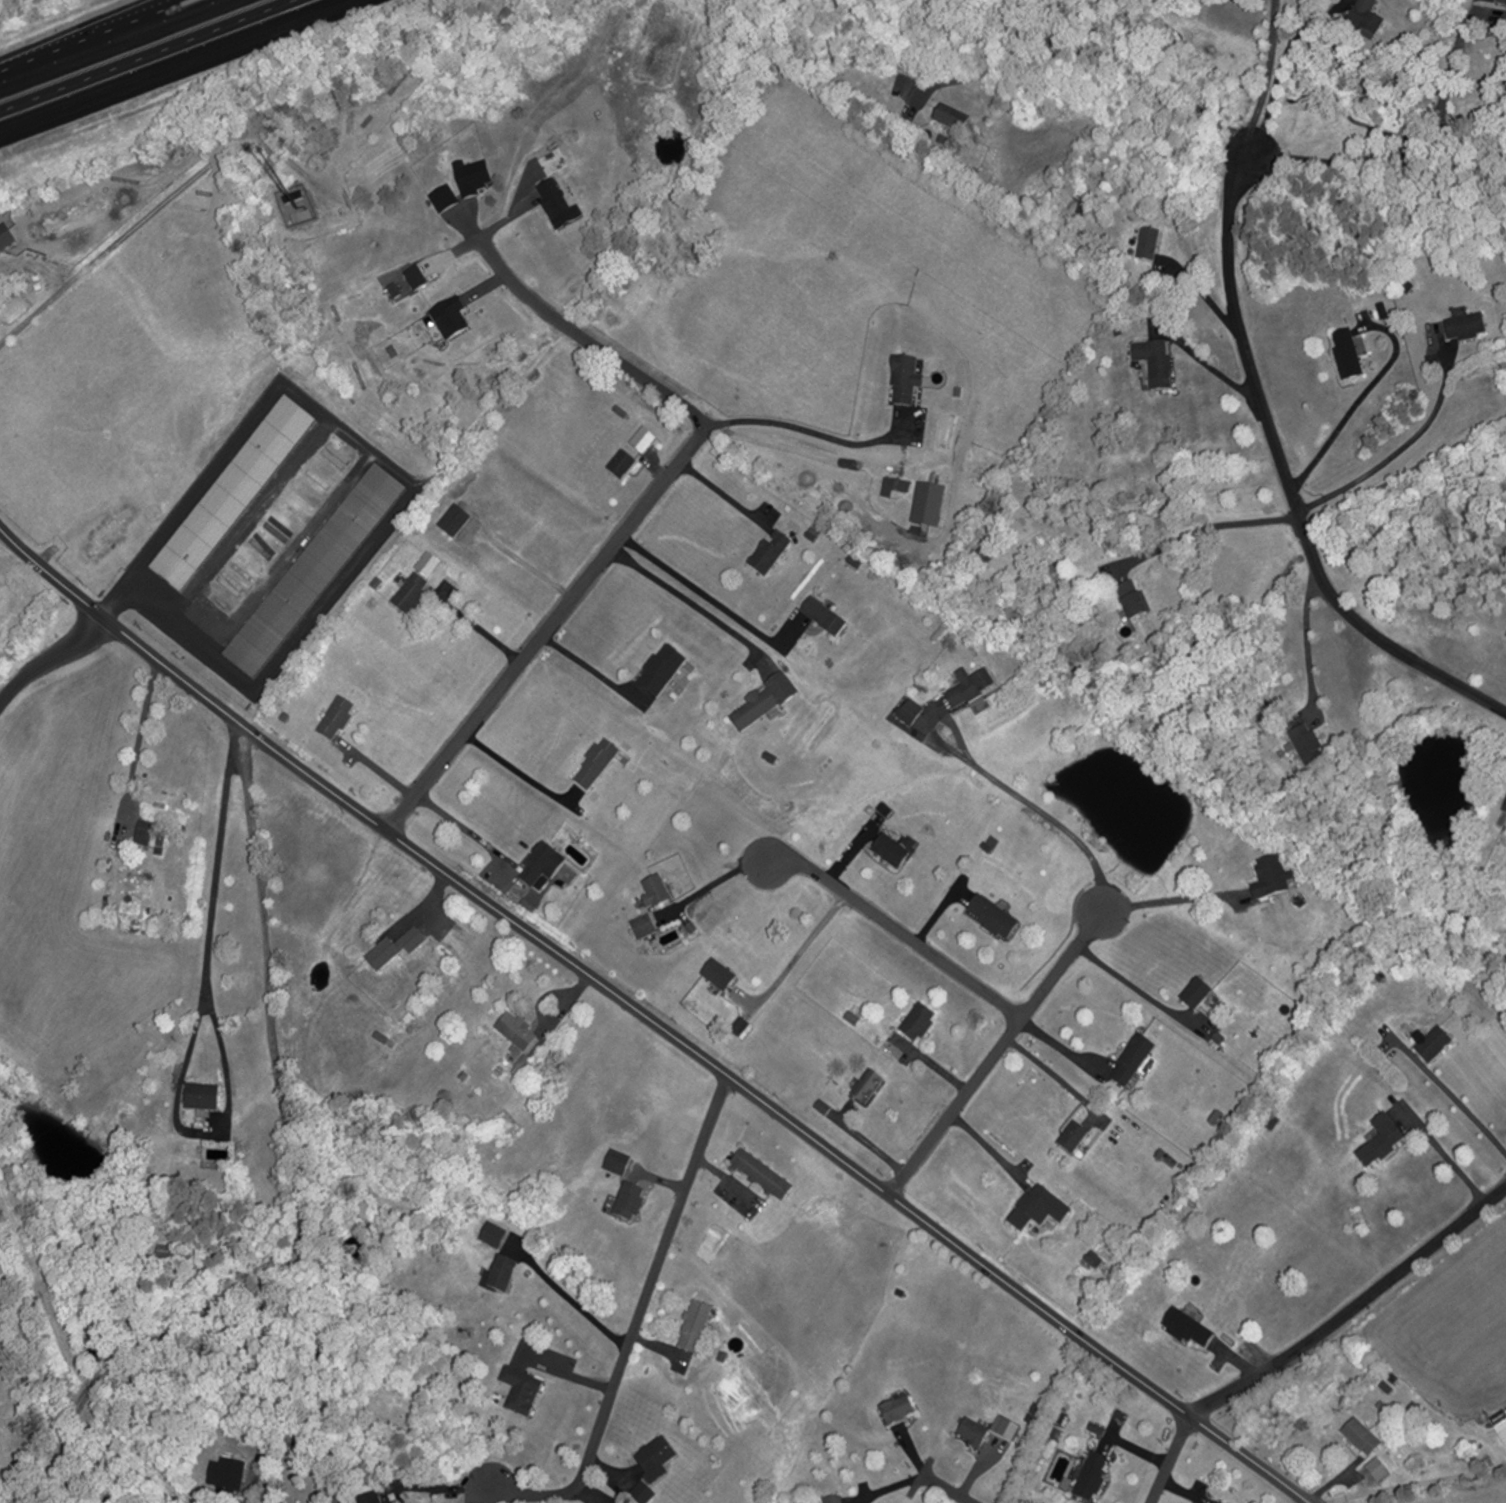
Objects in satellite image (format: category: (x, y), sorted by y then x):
road: (95, 36)
road: (1094, 46)
road: (173, 65)
road: (1267, 76)
road: (1401, 148)
road: (103, 249)
road: (1255, 382)
road: (1359, 399)
road: (811, 426)
road: (1396, 451)
road: (403, 473)
road: (1404, 474)
road: (724, 491)
road: (643, 510)
road: (251, 516)
road: (1203, 526)
road: (288, 546)
road: (709, 593)
road: (685, 595)
road: (478, 627)
road: (1307, 643)
road: (1424, 648)
road: (48, 654)
road: (140, 728)
road: (518, 771)
road: (1043, 808)
road: (473, 833)
road: (721, 878)
road: (1176, 892)
road: (905, 936)
road: (796, 958)
road: (1131, 980)
road: (651, 1017)
road: (194, 1029)
road: (1066, 1046)
road: (998, 1052)
road: (1052, 1069)
road: (1447, 1086)
road: (990, 1144)
road: (1442, 1147)
road: (297, 1175)
road: (581, 1306)
road: (1354, 1309)
road: (637, 1333)
road: (317, 1349)
road: (271, 1447)
road: (1169, 1460)
road: (332, 1474)
road: (945, 1491)

